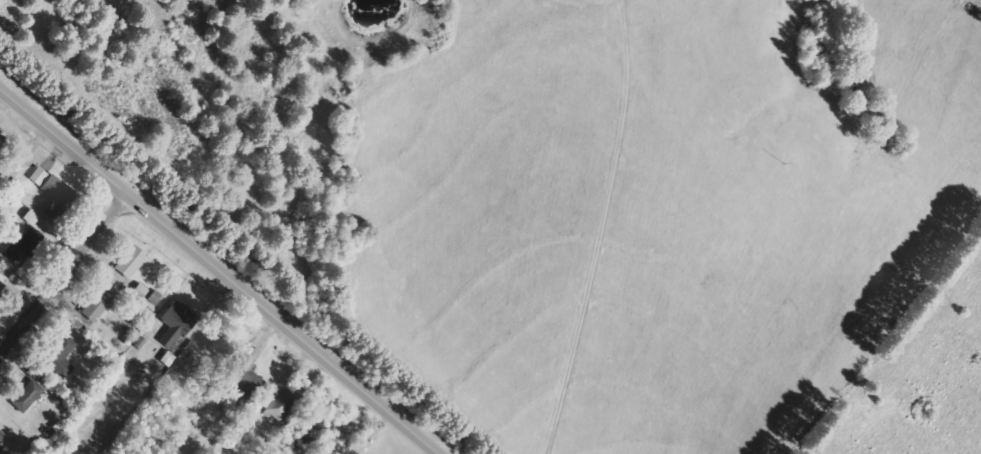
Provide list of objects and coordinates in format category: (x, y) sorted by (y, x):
building: (40, 176)
building: (59, 199)
building: (30, 241)
building: (133, 262)
road: (222, 268)
road: (67, 279)
building: (2, 287)
building: (142, 290)
building: (101, 304)
building: (178, 324)
building: (63, 358)
building: (29, 396)
building: (282, 405)
building: (2, 437)

